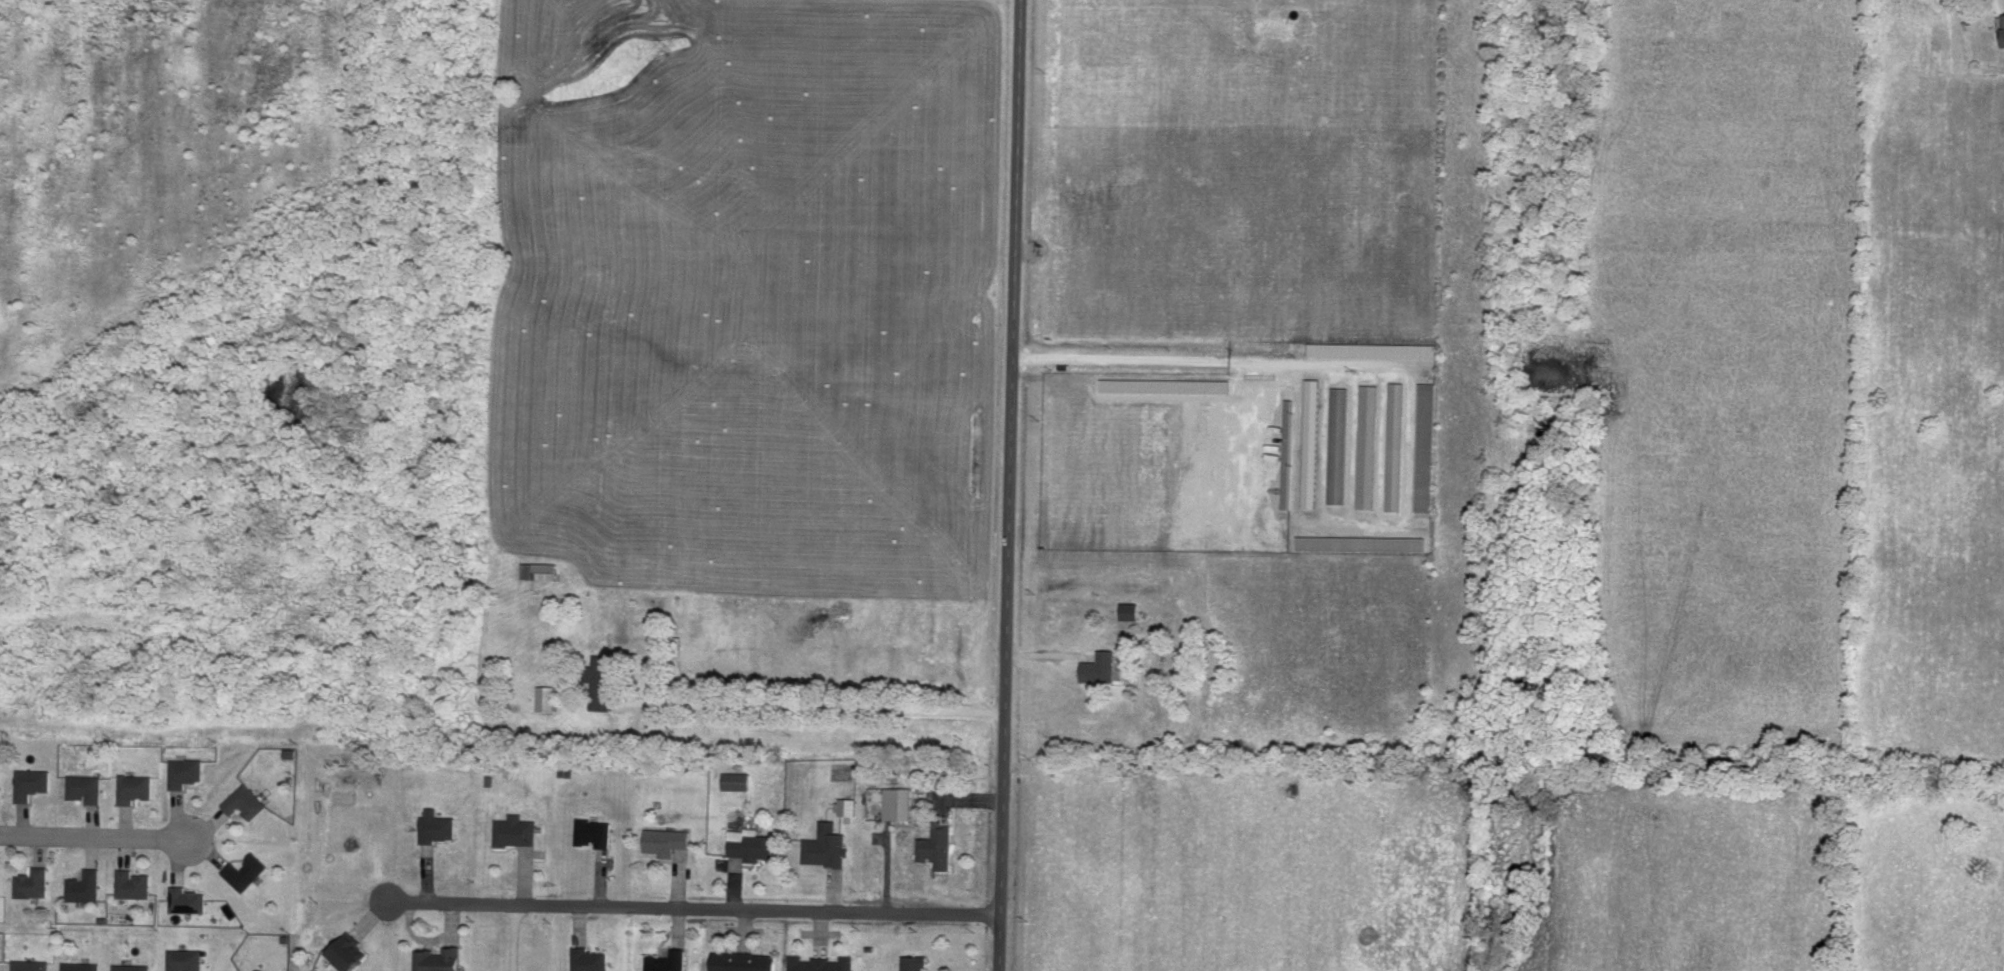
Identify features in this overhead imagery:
building: (2003, 22)
road: (1015, 227)
road: (1027, 252)
road: (1119, 362)
building: (1167, 384)
building: (1313, 441)
building: (1340, 444)
building: (1369, 445)
building: (1396, 445)
building: (1427, 446)
road: (1404, 491)
building: (1362, 542)
building: (541, 569)
building: (1132, 610)
road: (1048, 657)
building: (1102, 666)
building: (607, 679)
building: (548, 697)
road: (826, 707)
road: (1005, 713)
building: (186, 771)
building: (737, 779)
building: (0, 780)
building: (33, 782)
building: (86, 787)
building: (136, 787)
building: (247, 801)
building: (899, 801)
building: (849, 804)
building: (440, 825)
building: (517, 829)
building: (596, 830)
road: (93, 836)
building: (668, 840)
building: (752, 843)
building: (827, 844)
building: (938, 845)
building: (246, 870)
building: (33, 882)
building: (134, 883)
building: (85, 885)
building: (188, 898)
road: (694, 905)
road: (372, 916)
building: (351, 951)
building: (440, 958)
building: (186, 959)
building: (591, 959)
building: (669, 961)
building: (746, 961)
building: (916, 962)
building: (822, 963)
building: (30, 965)
building: (81, 966)
building: (132, 967)

